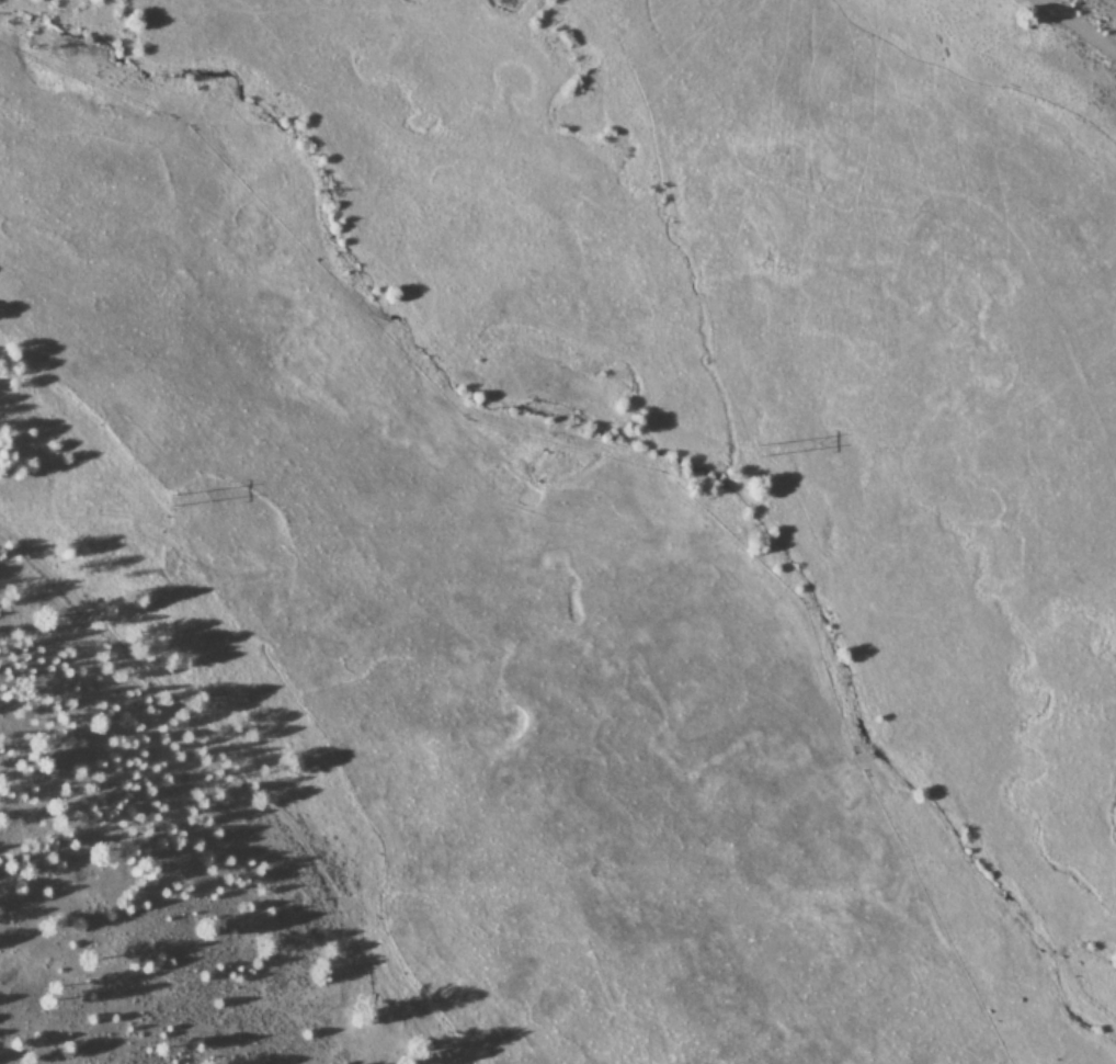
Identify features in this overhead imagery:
road: (1100, 10)
power tower: (756, 450)
power tower: (168, 500)

